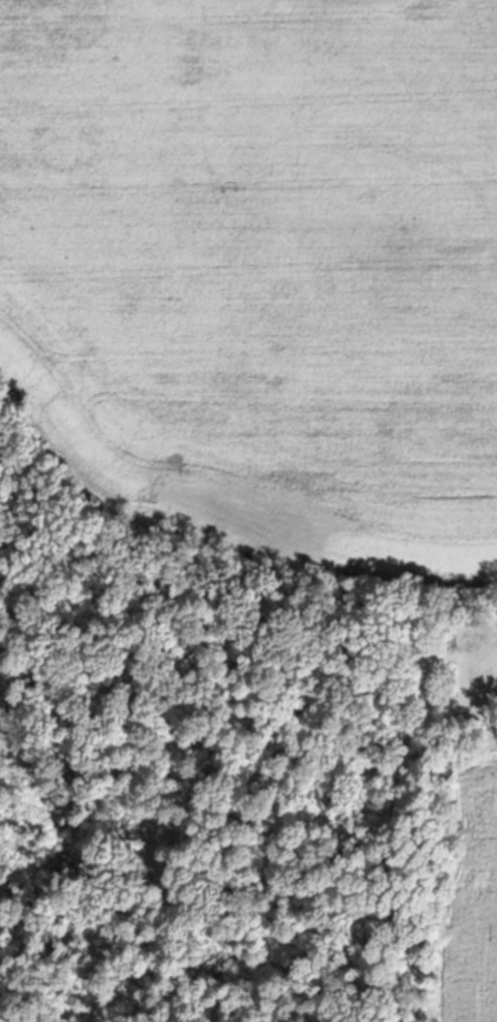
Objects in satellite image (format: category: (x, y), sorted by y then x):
crop: (261, 269)
crop: (471, 899)

